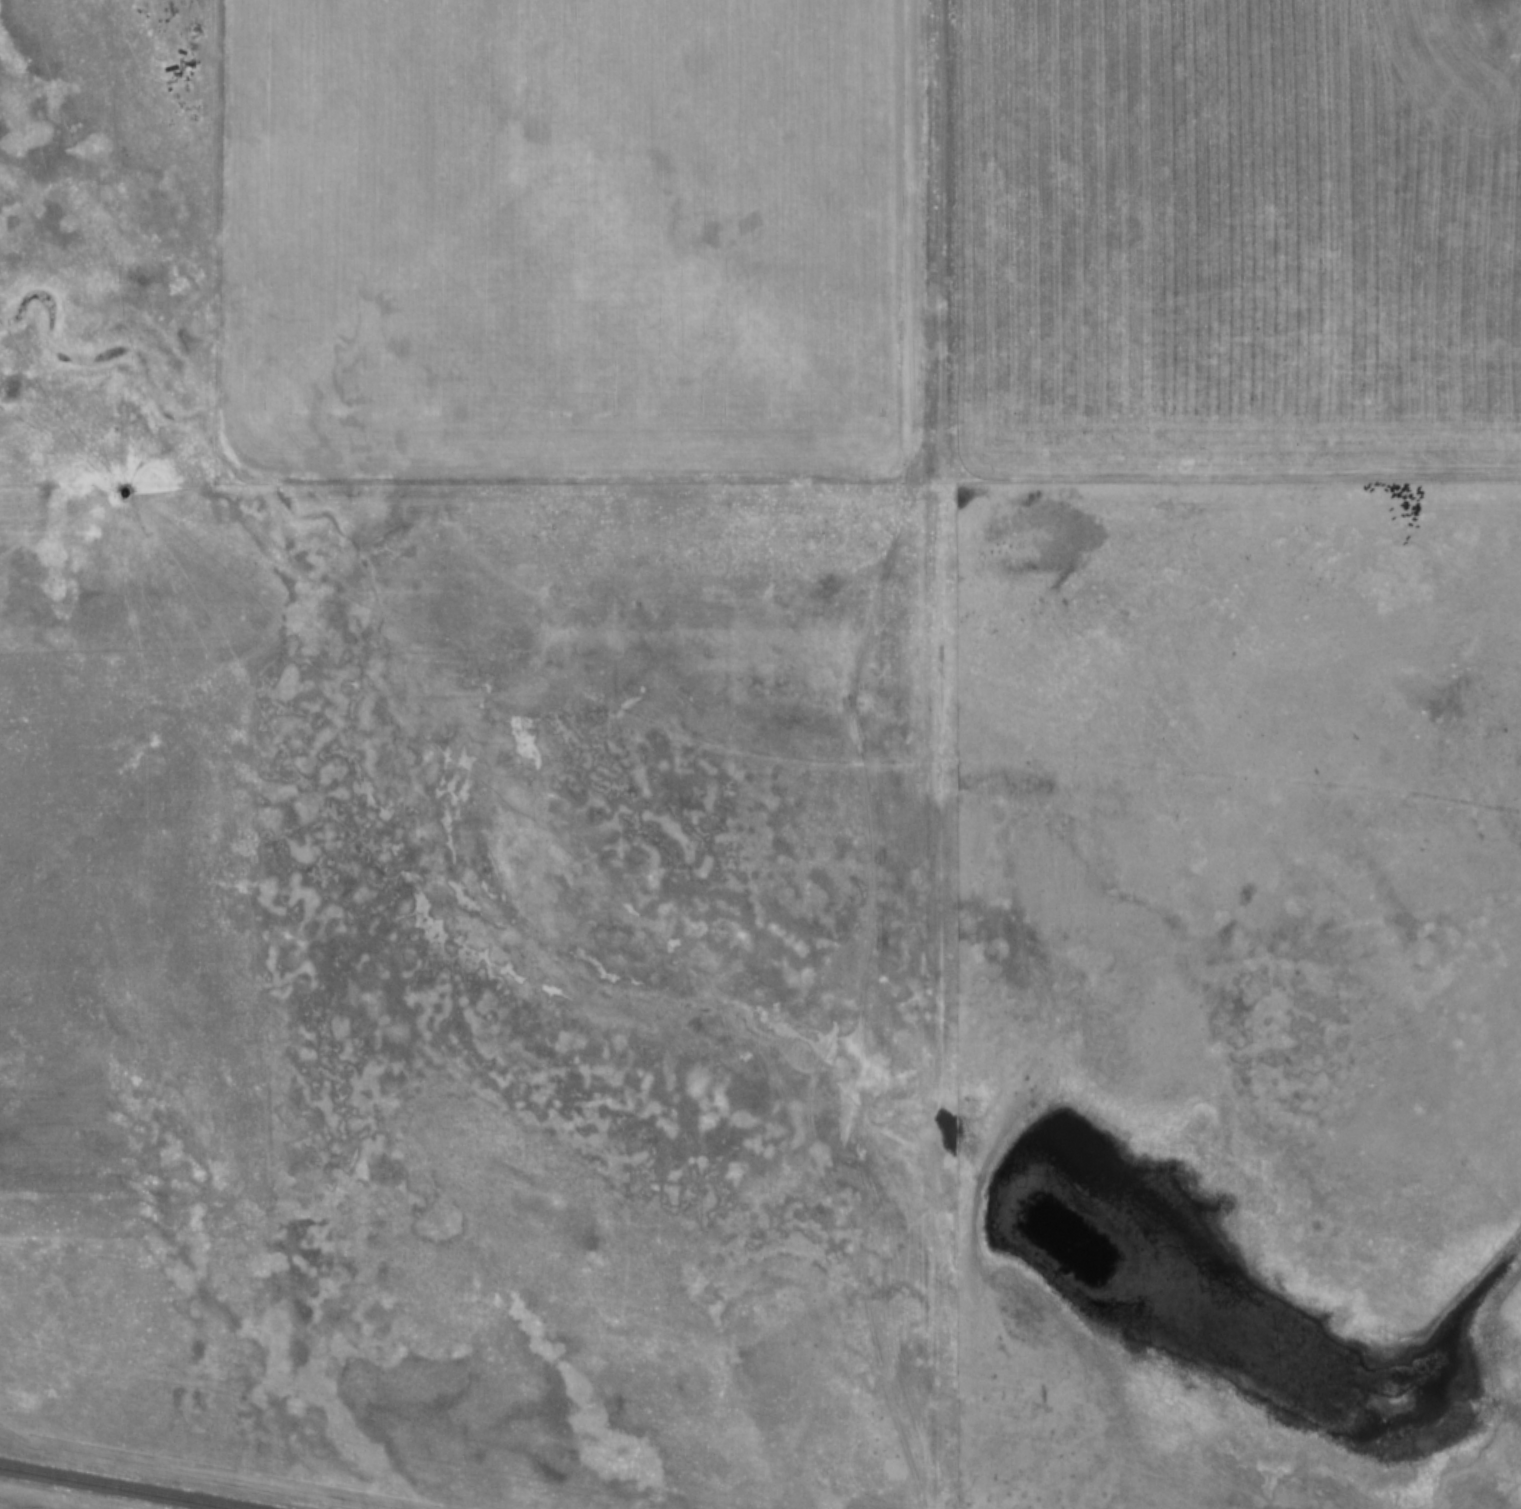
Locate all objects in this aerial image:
road: (917, 236)
railway: (118, 1488)

